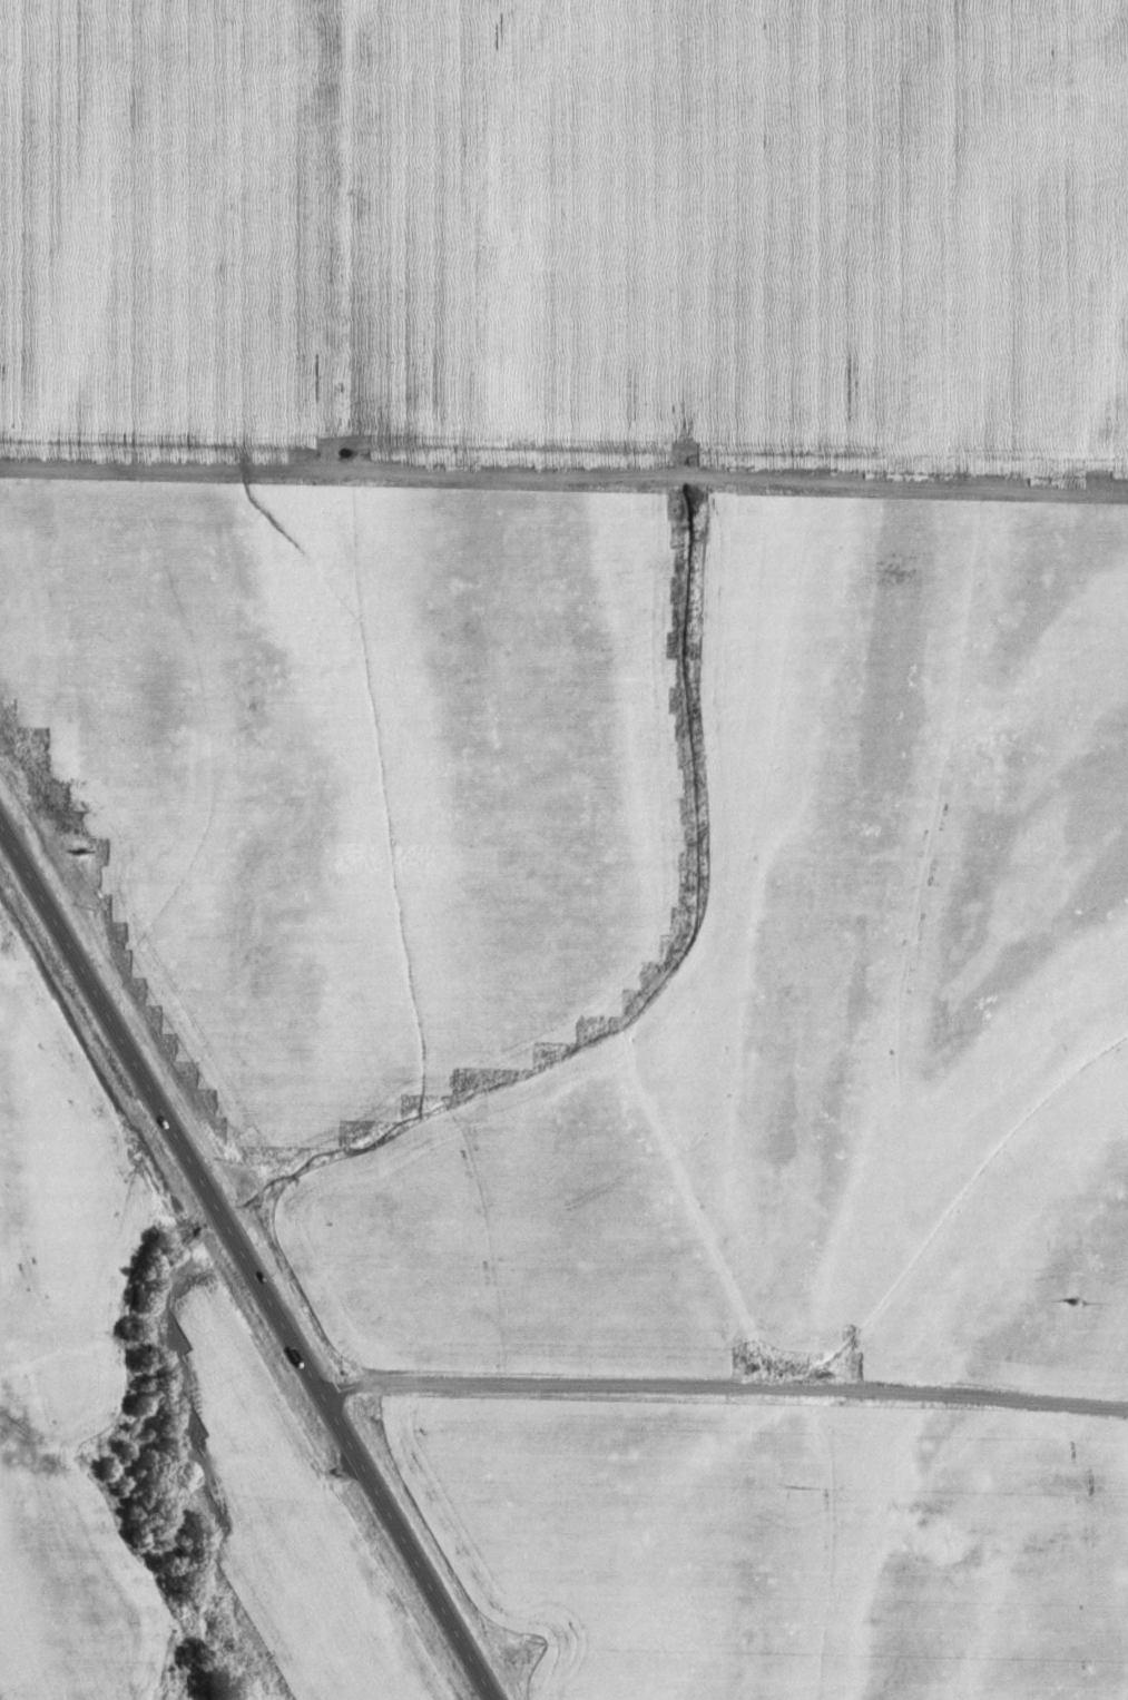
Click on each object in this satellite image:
road: (325, 234)
road: (563, 473)
road: (244, 1267)
road: (720, 1387)

